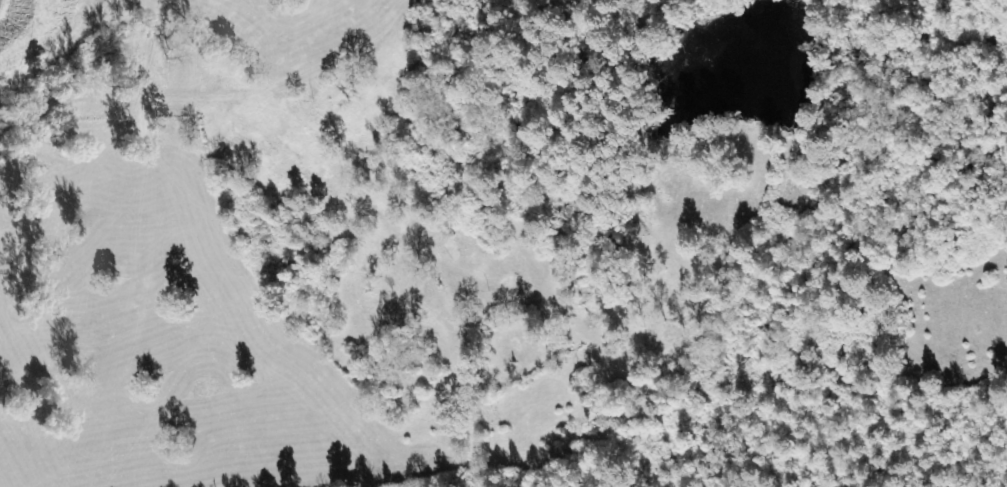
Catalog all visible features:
road: (292, 108)

